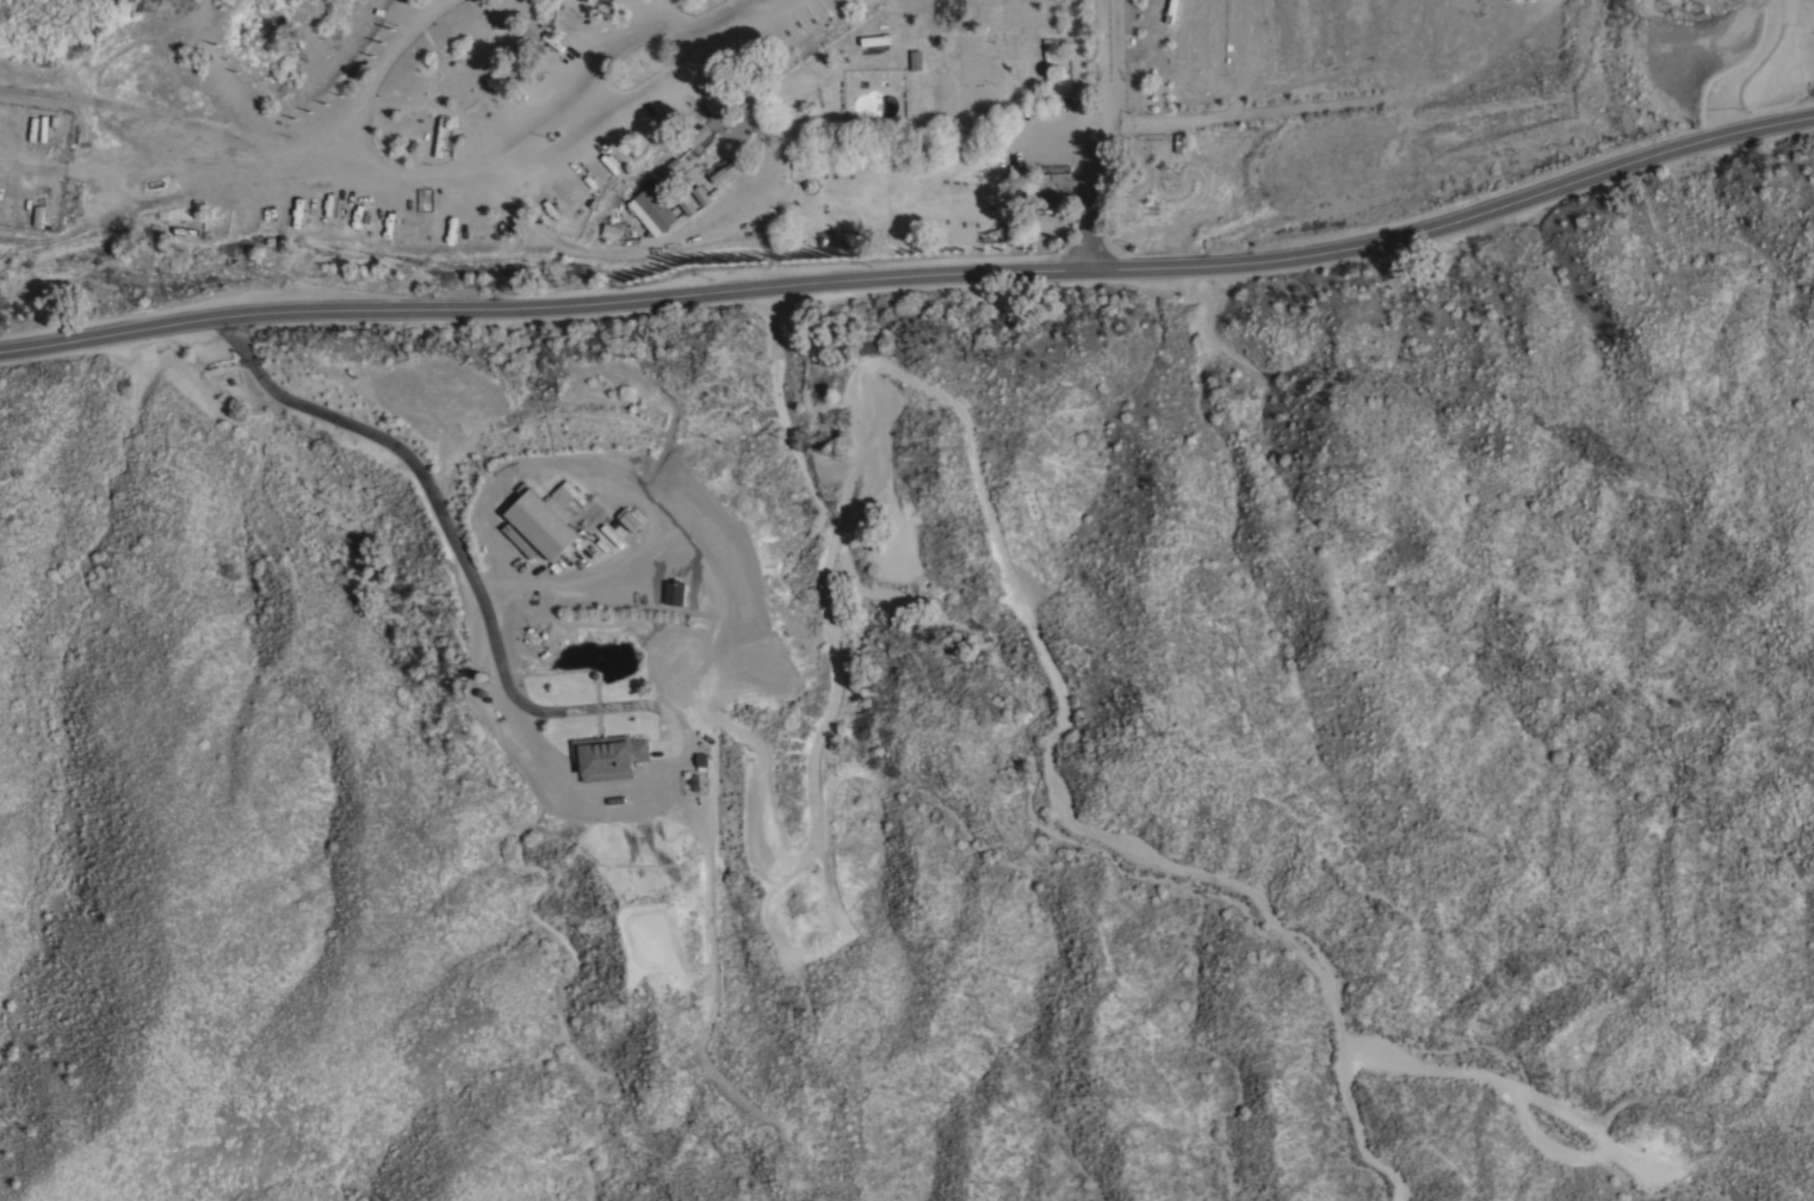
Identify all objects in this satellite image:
road: (730, 12)
road: (648, 16)
building: (875, 38)
building: (915, 58)
road: (1747, 68)
road: (577, 69)
building: (1055, 69)
road: (373, 76)
road: (244, 94)
building: (733, 129)
road: (1059, 131)
road: (1089, 134)
building: (440, 135)
building: (714, 153)
road: (558, 155)
building: (665, 156)
building: (1047, 186)
building: (667, 188)
building: (652, 210)
building: (611, 231)
road: (600, 254)
road: (915, 274)
road: (433, 503)
building: (551, 509)
building: (519, 538)
building: (900, 556)
building: (674, 592)
building: (608, 755)

